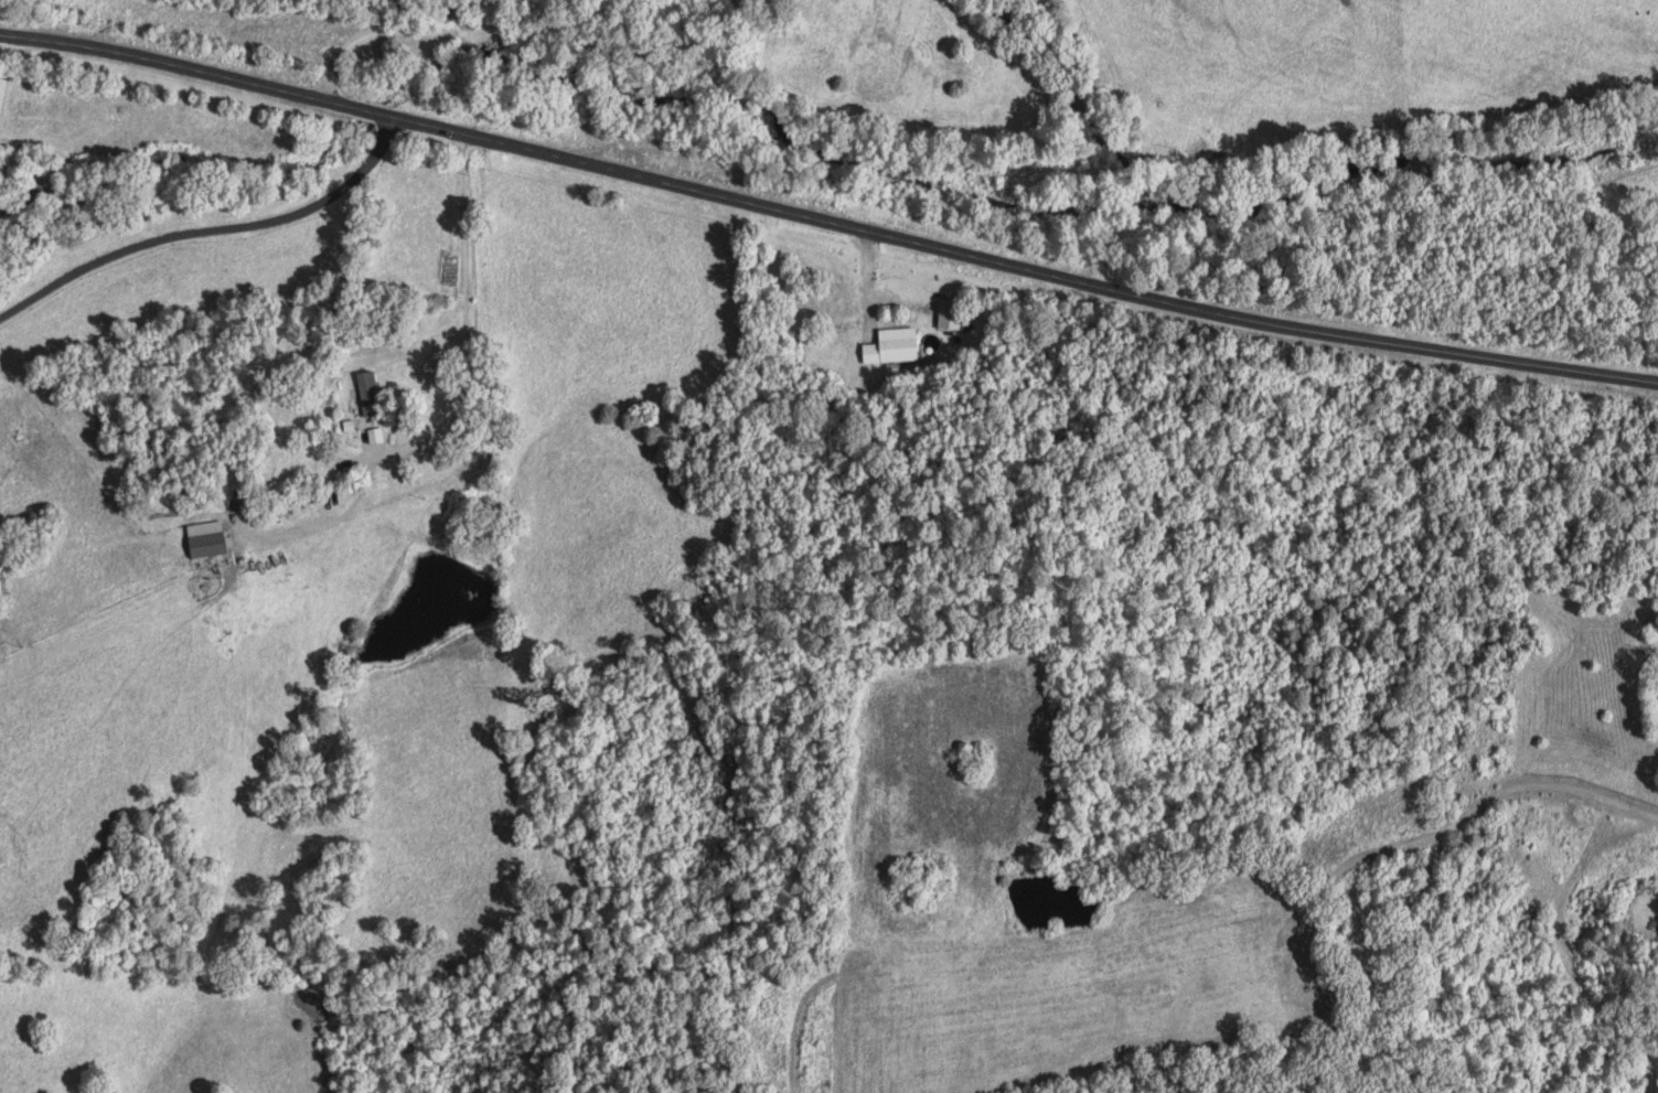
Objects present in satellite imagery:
road: (524, 37)
road: (826, 222)
road: (210, 233)
building: (948, 315)
building: (889, 347)
building: (365, 395)
building: (201, 540)
park: (1652, 639)

